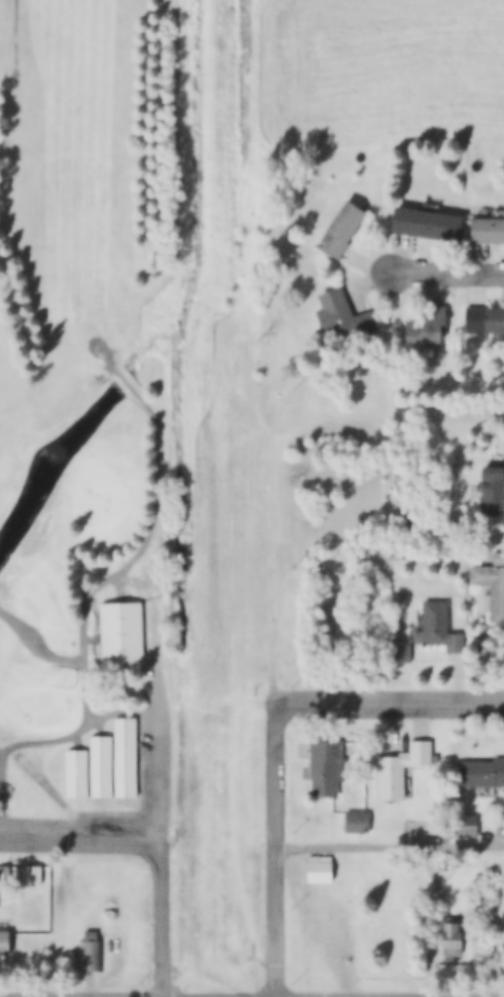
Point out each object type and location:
road: (13, 37)
building: (427, 223)
building: (341, 230)
building: (487, 231)
road: (450, 277)
building: (342, 317)
building: (485, 318)
building: (424, 324)
park: (150, 380)
building: (491, 495)
road: (120, 572)
building: (491, 585)
building: (438, 628)
building: (122, 633)
road: (42, 646)
building: (402, 654)
road: (387, 702)
building: (126, 757)
building: (102, 765)
building: (327, 770)
building: (79, 772)
building: (397, 773)
building: (482, 774)
road: (163, 776)
building: (356, 821)
building: (464, 826)
road: (82, 837)
road: (390, 845)
road: (277, 855)
building: (320, 868)
building: (33, 875)
building: (452, 939)
building: (4, 942)
building: (95, 953)

